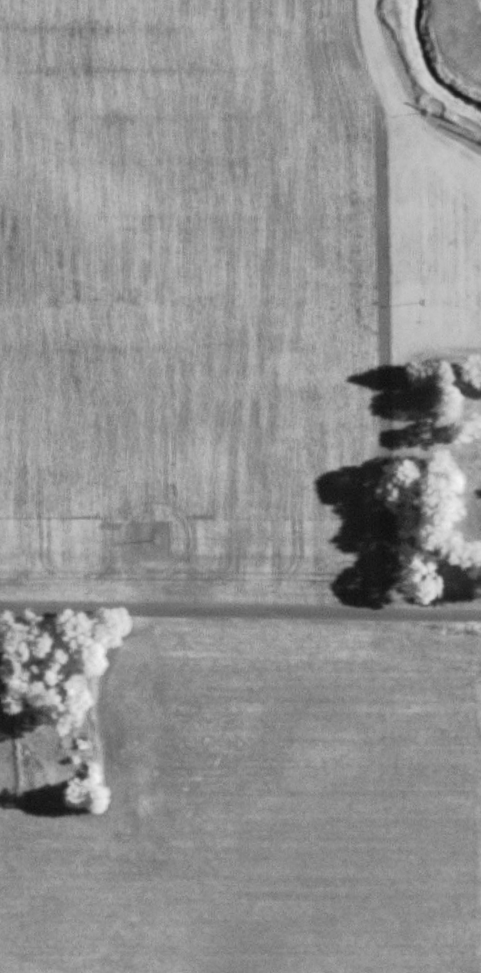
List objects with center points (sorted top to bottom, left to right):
building: (479, 408)
road: (240, 614)

